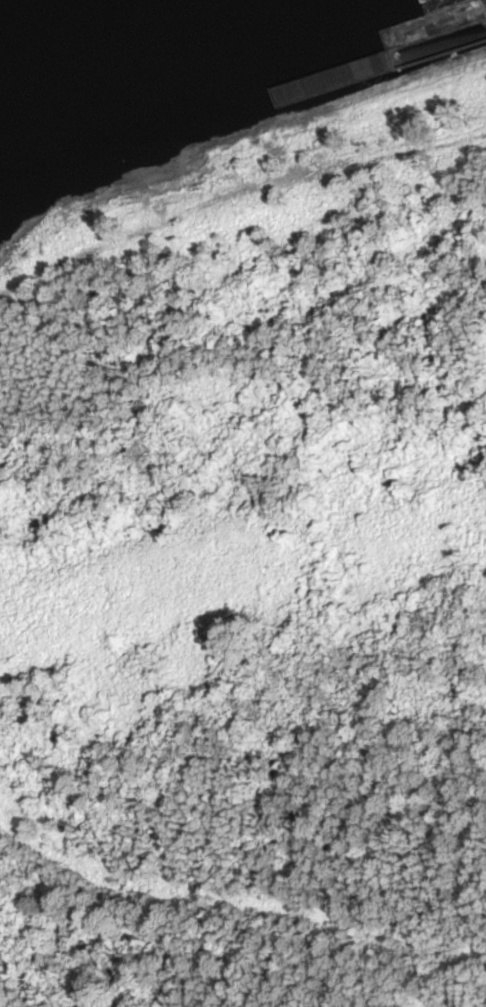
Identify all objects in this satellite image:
building: (367, 19)
road: (50, 257)

